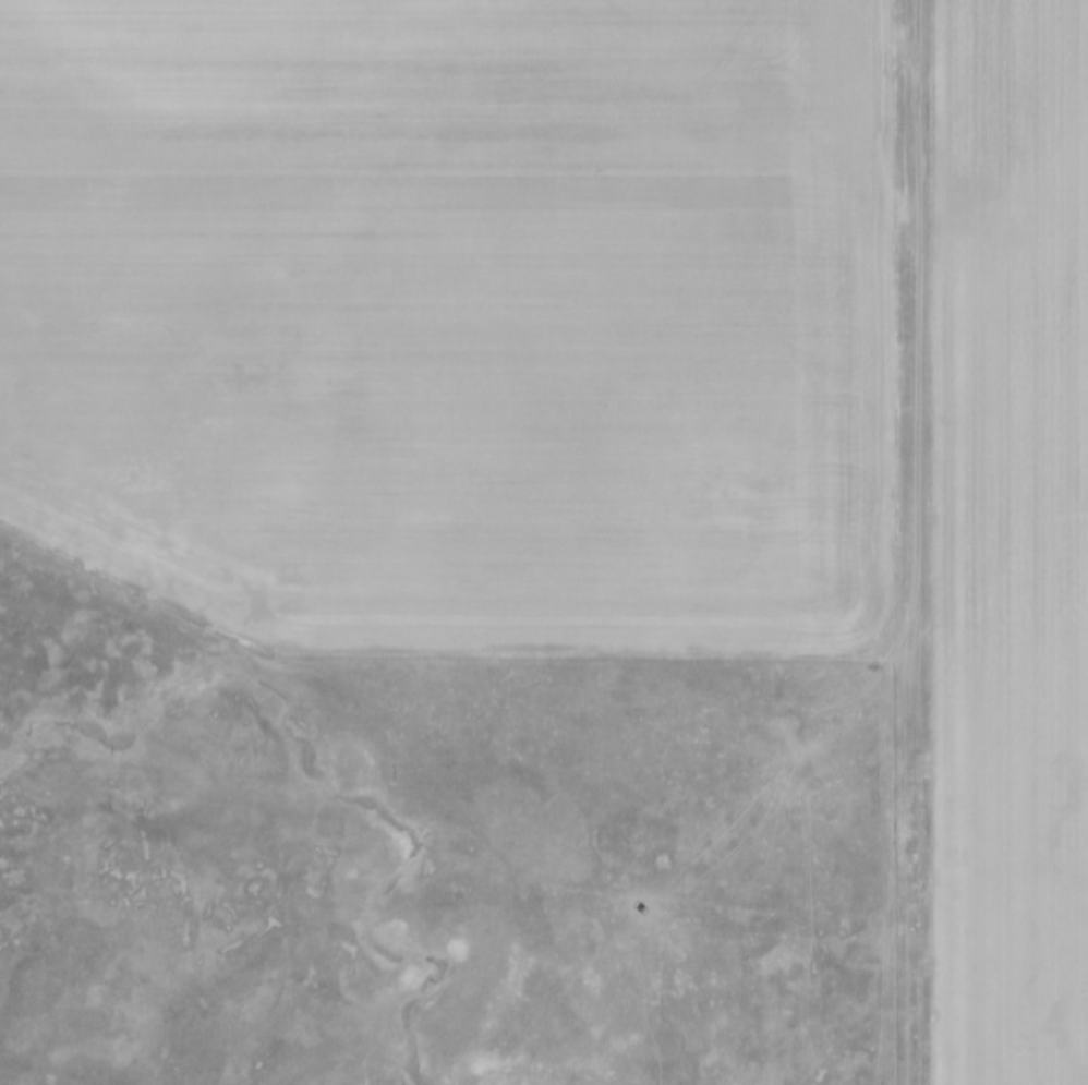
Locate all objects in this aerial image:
road: (919, 542)

